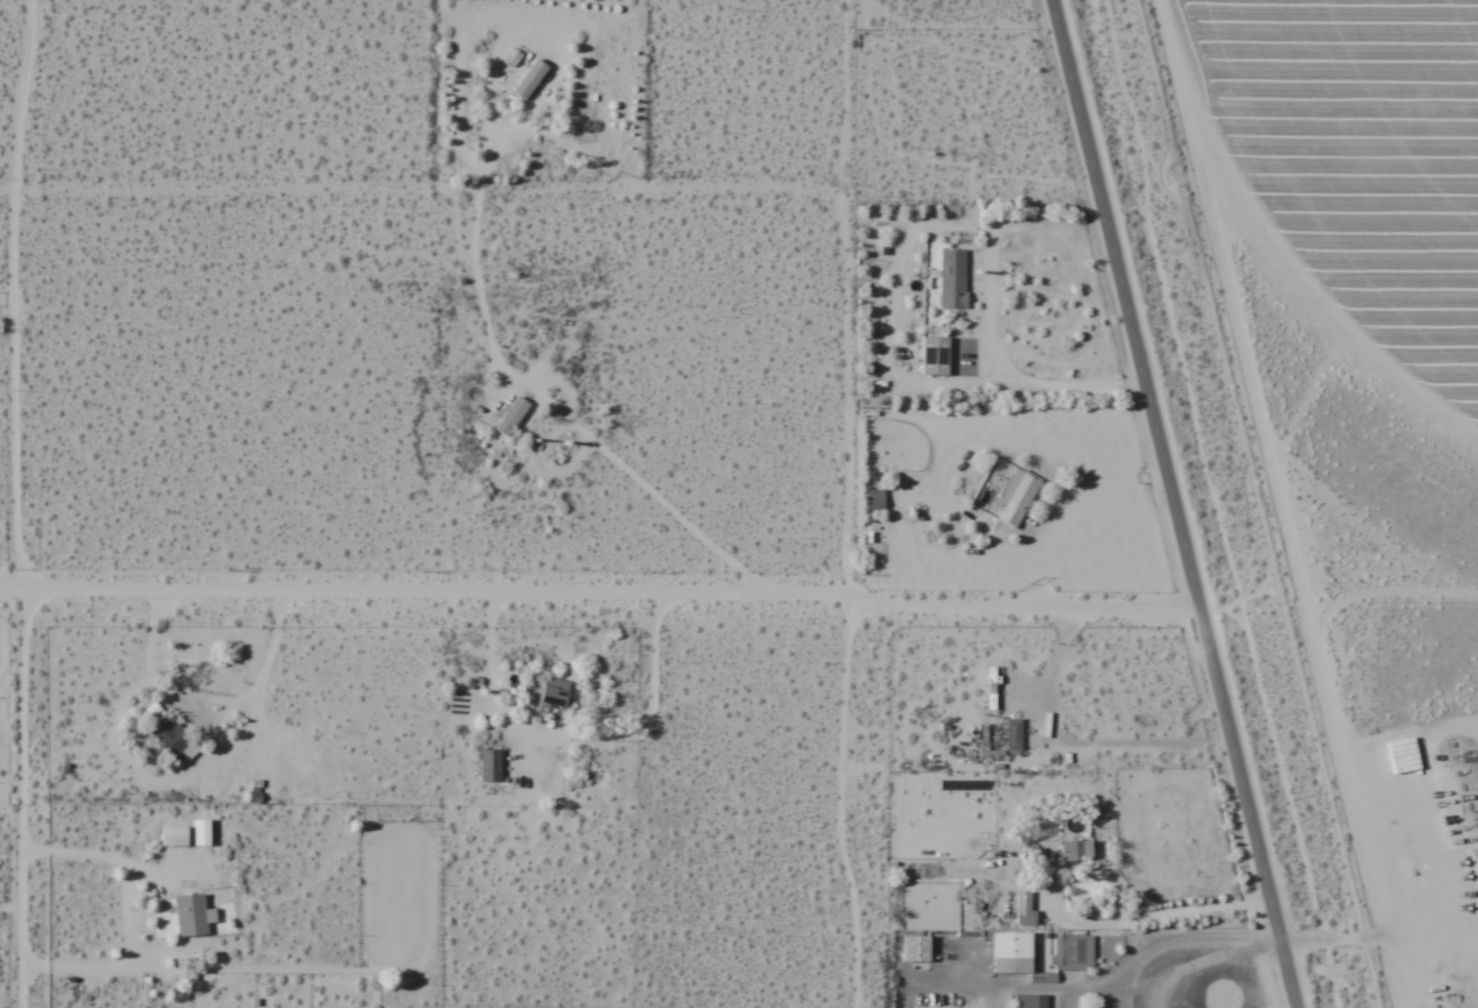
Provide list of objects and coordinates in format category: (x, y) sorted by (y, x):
building: (530, 79)
crop: (1344, 166)
road: (7, 193)
building: (953, 279)
building: (940, 356)
building: (512, 416)
building: (1016, 497)
building: (875, 499)
road: (17, 503)
road: (1175, 503)
road: (600, 598)
building: (992, 688)
building: (555, 692)
building: (1014, 734)
building: (172, 740)
building: (490, 766)
road: (841, 806)
building: (174, 836)
building: (1076, 852)
building: (1025, 910)
building: (190, 915)
building: (916, 949)
building: (1073, 952)
building: (1021, 956)
building: (1034, 1001)

